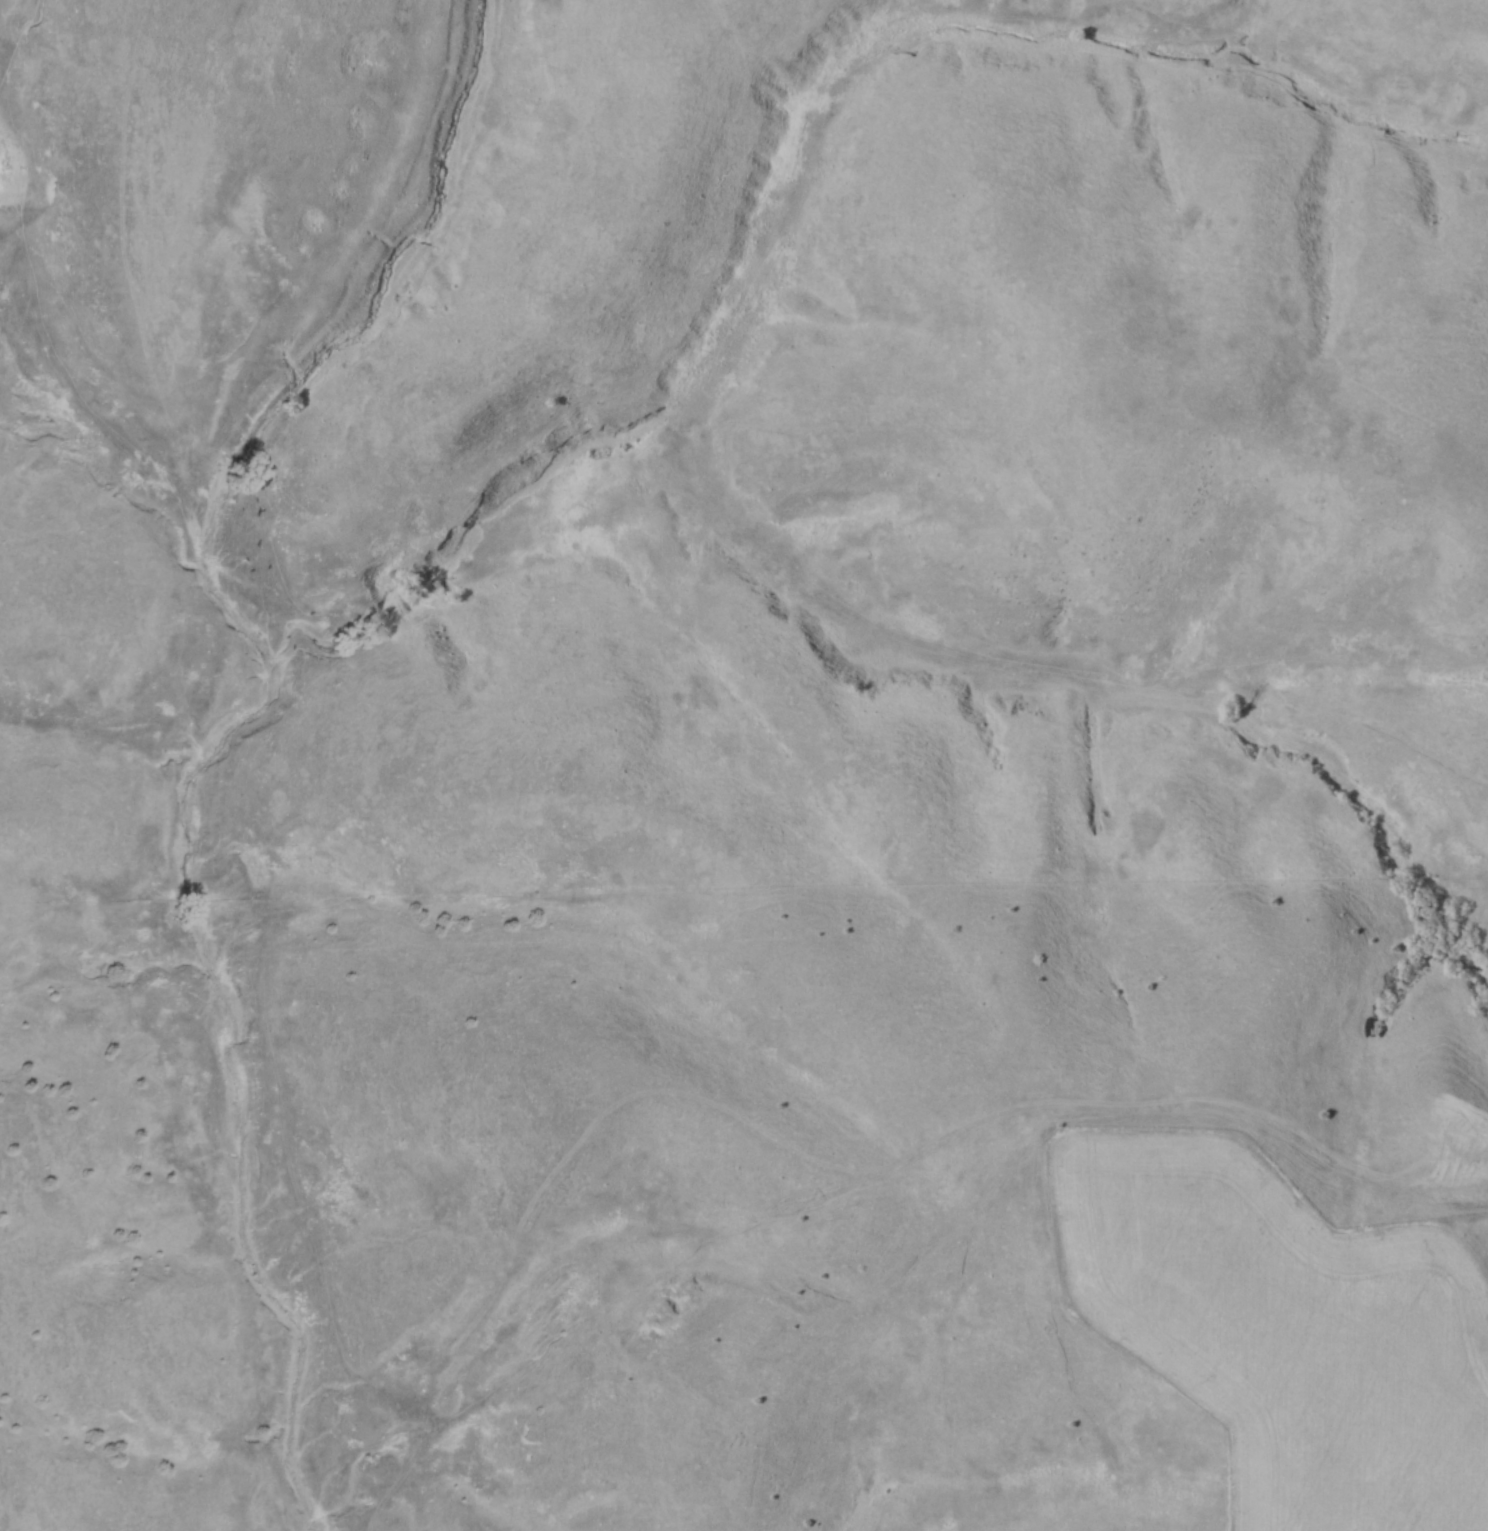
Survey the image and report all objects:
crop: (1288, 1328)

